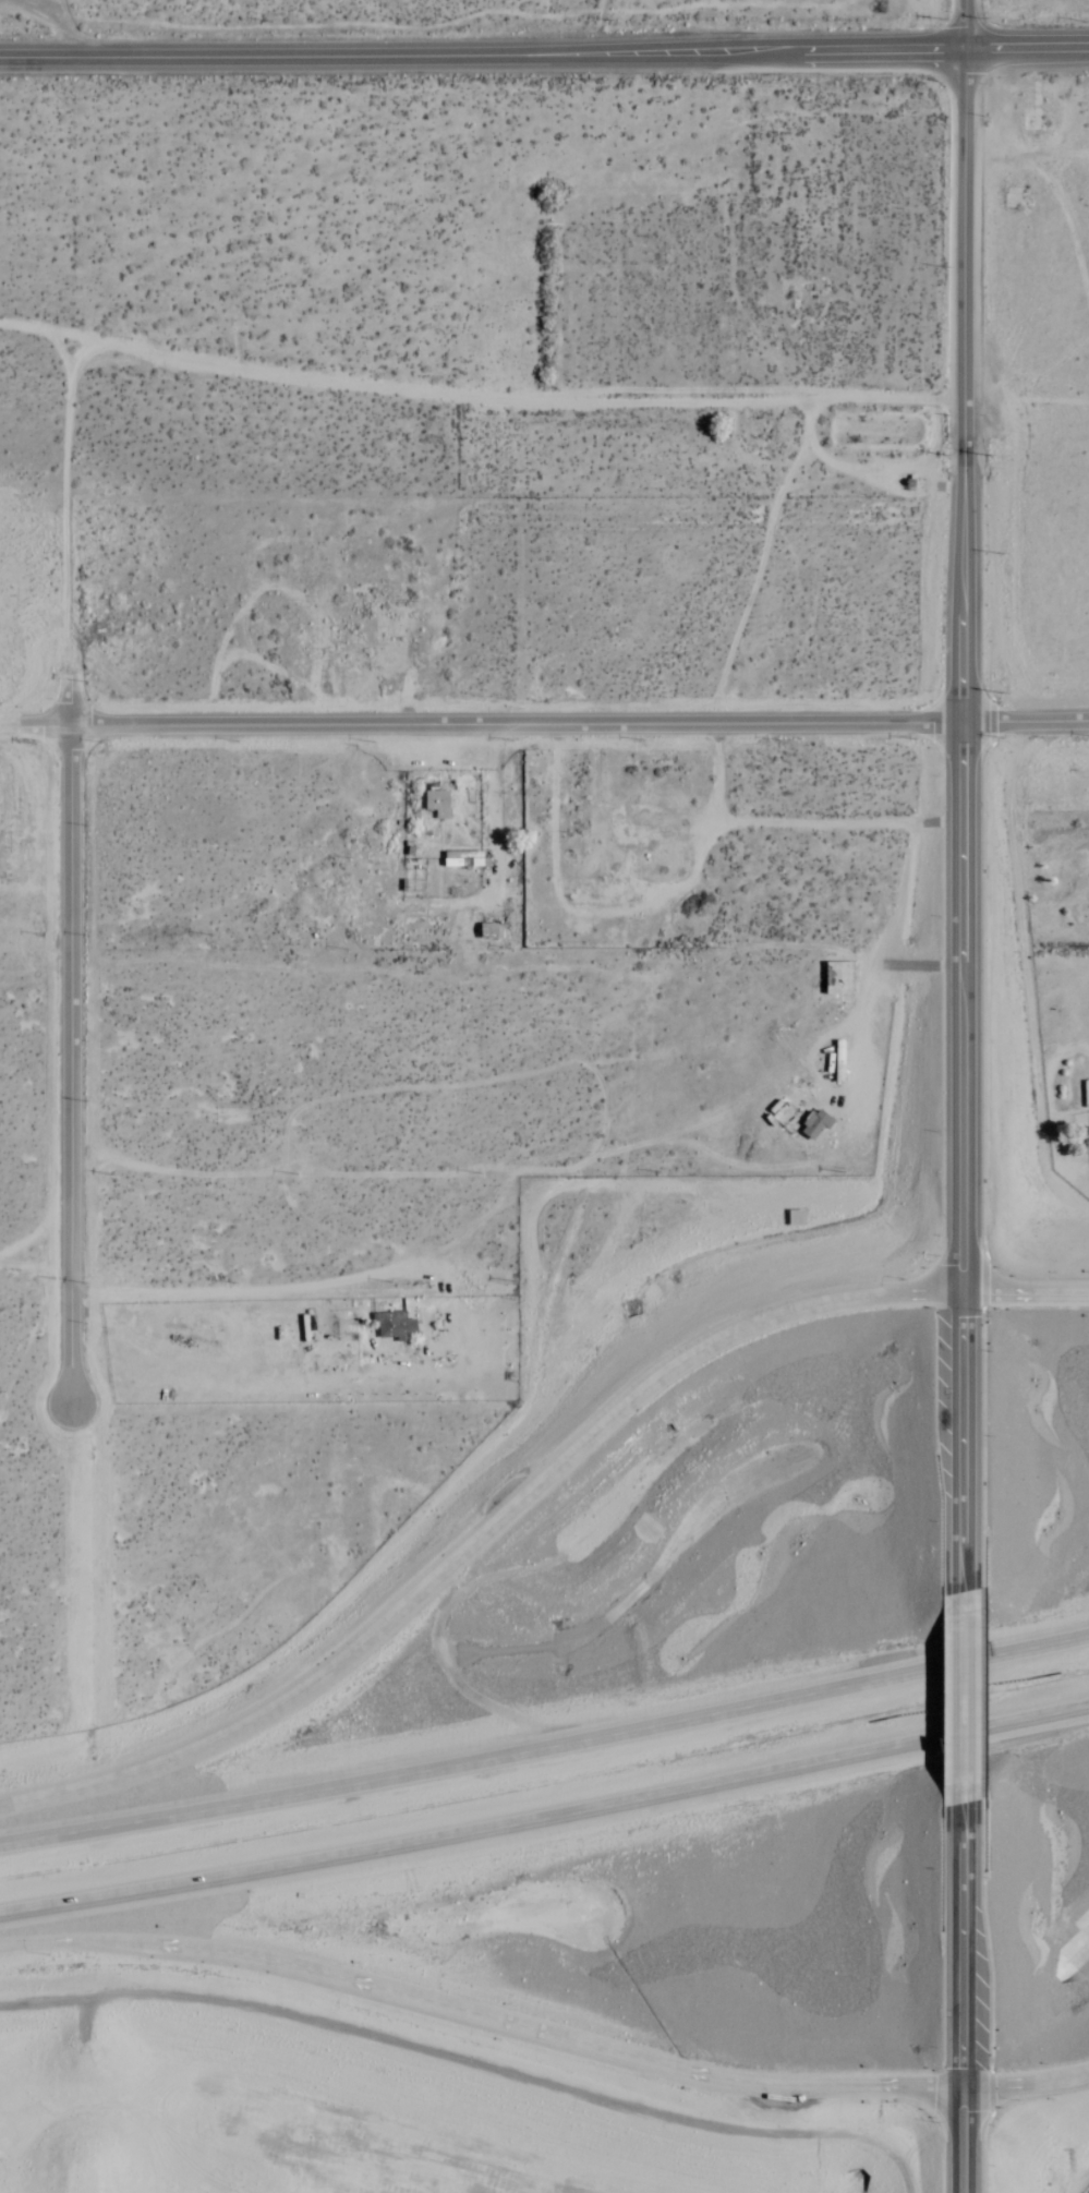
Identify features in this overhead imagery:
road: (966, 24)
road: (76, 27)
road: (1027, 48)
road: (483, 52)
road: (26, 326)
road: (532, 399)
road: (68, 456)
road: (553, 722)
road: (9, 728)
building: (436, 805)
road: (965, 830)
road: (878, 945)
road: (918, 963)
road: (70, 1037)
building: (811, 1126)
building: (1085, 1137)
road: (261, 1291)
road: (1026, 1293)
building: (391, 1325)
road: (480, 1537)
road: (1086, 1635)
road: (963, 1701)
road: (543, 1747)
road: (545, 1817)
road: (963, 1938)
road: (481, 2016)
road: (1026, 2083)
road: (964, 2140)

